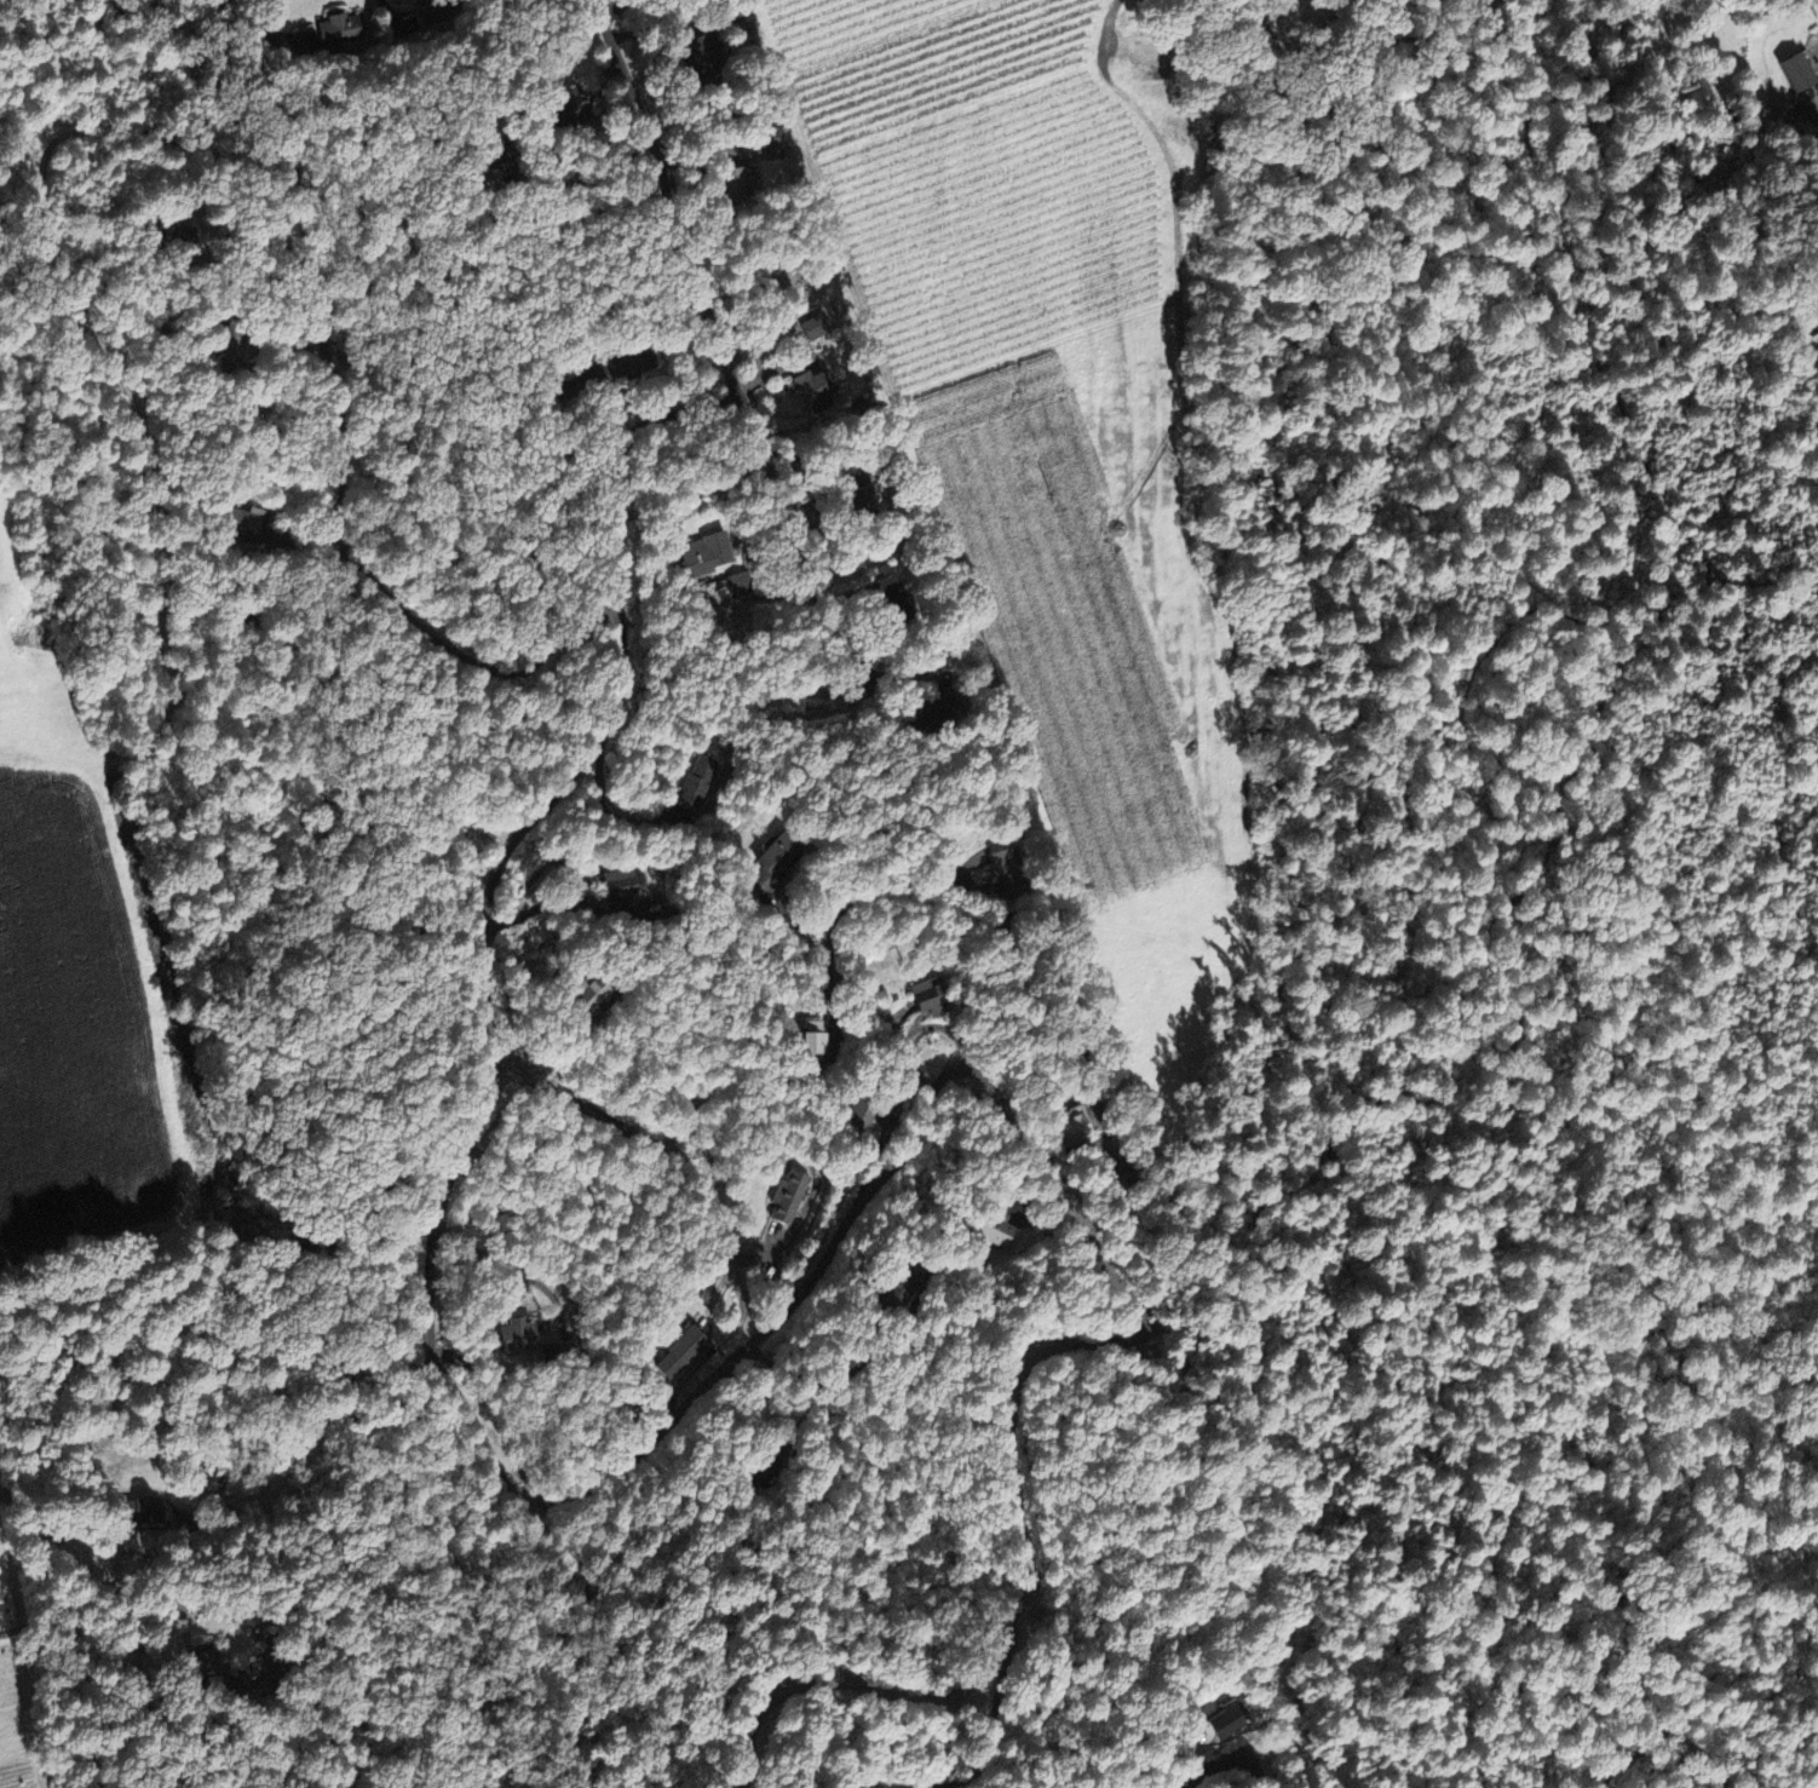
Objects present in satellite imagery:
building: (341, 31)
road: (1817, 59)
building: (1793, 70)
building: (763, 140)
building: (732, 180)
road: (591, 315)
road: (714, 320)
building: (811, 389)
road: (346, 436)
building: (703, 554)
road: (608, 805)
building: (621, 889)
road: (487, 918)
road: (1043, 953)
road: (844, 973)
building: (933, 999)
road: (953, 1069)
building: (792, 1198)
building: (1000, 1234)
building: (909, 1287)
building: (517, 1339)
building: (683, 1353)
road: (793, 1420)
road: (110, 1589)
road: (1192, 1782)

